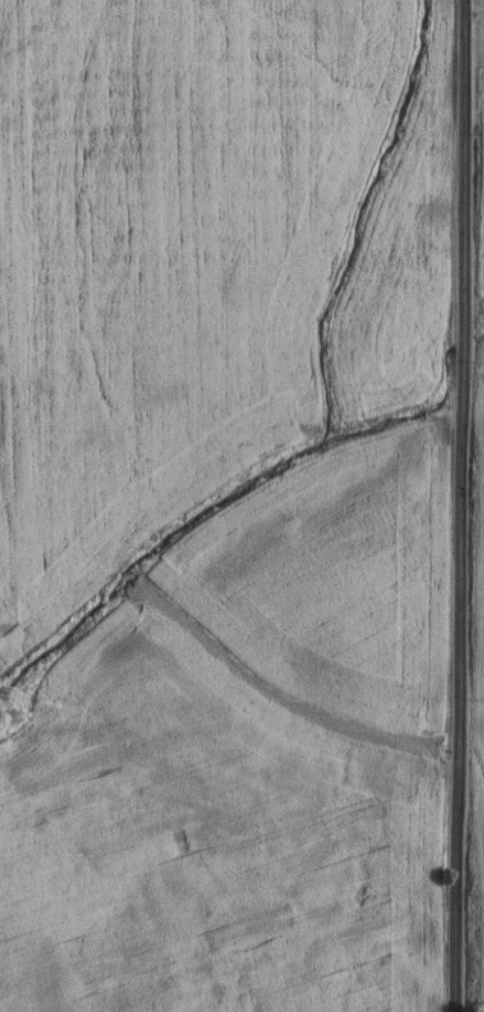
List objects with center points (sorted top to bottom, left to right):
road: (462, 506)

